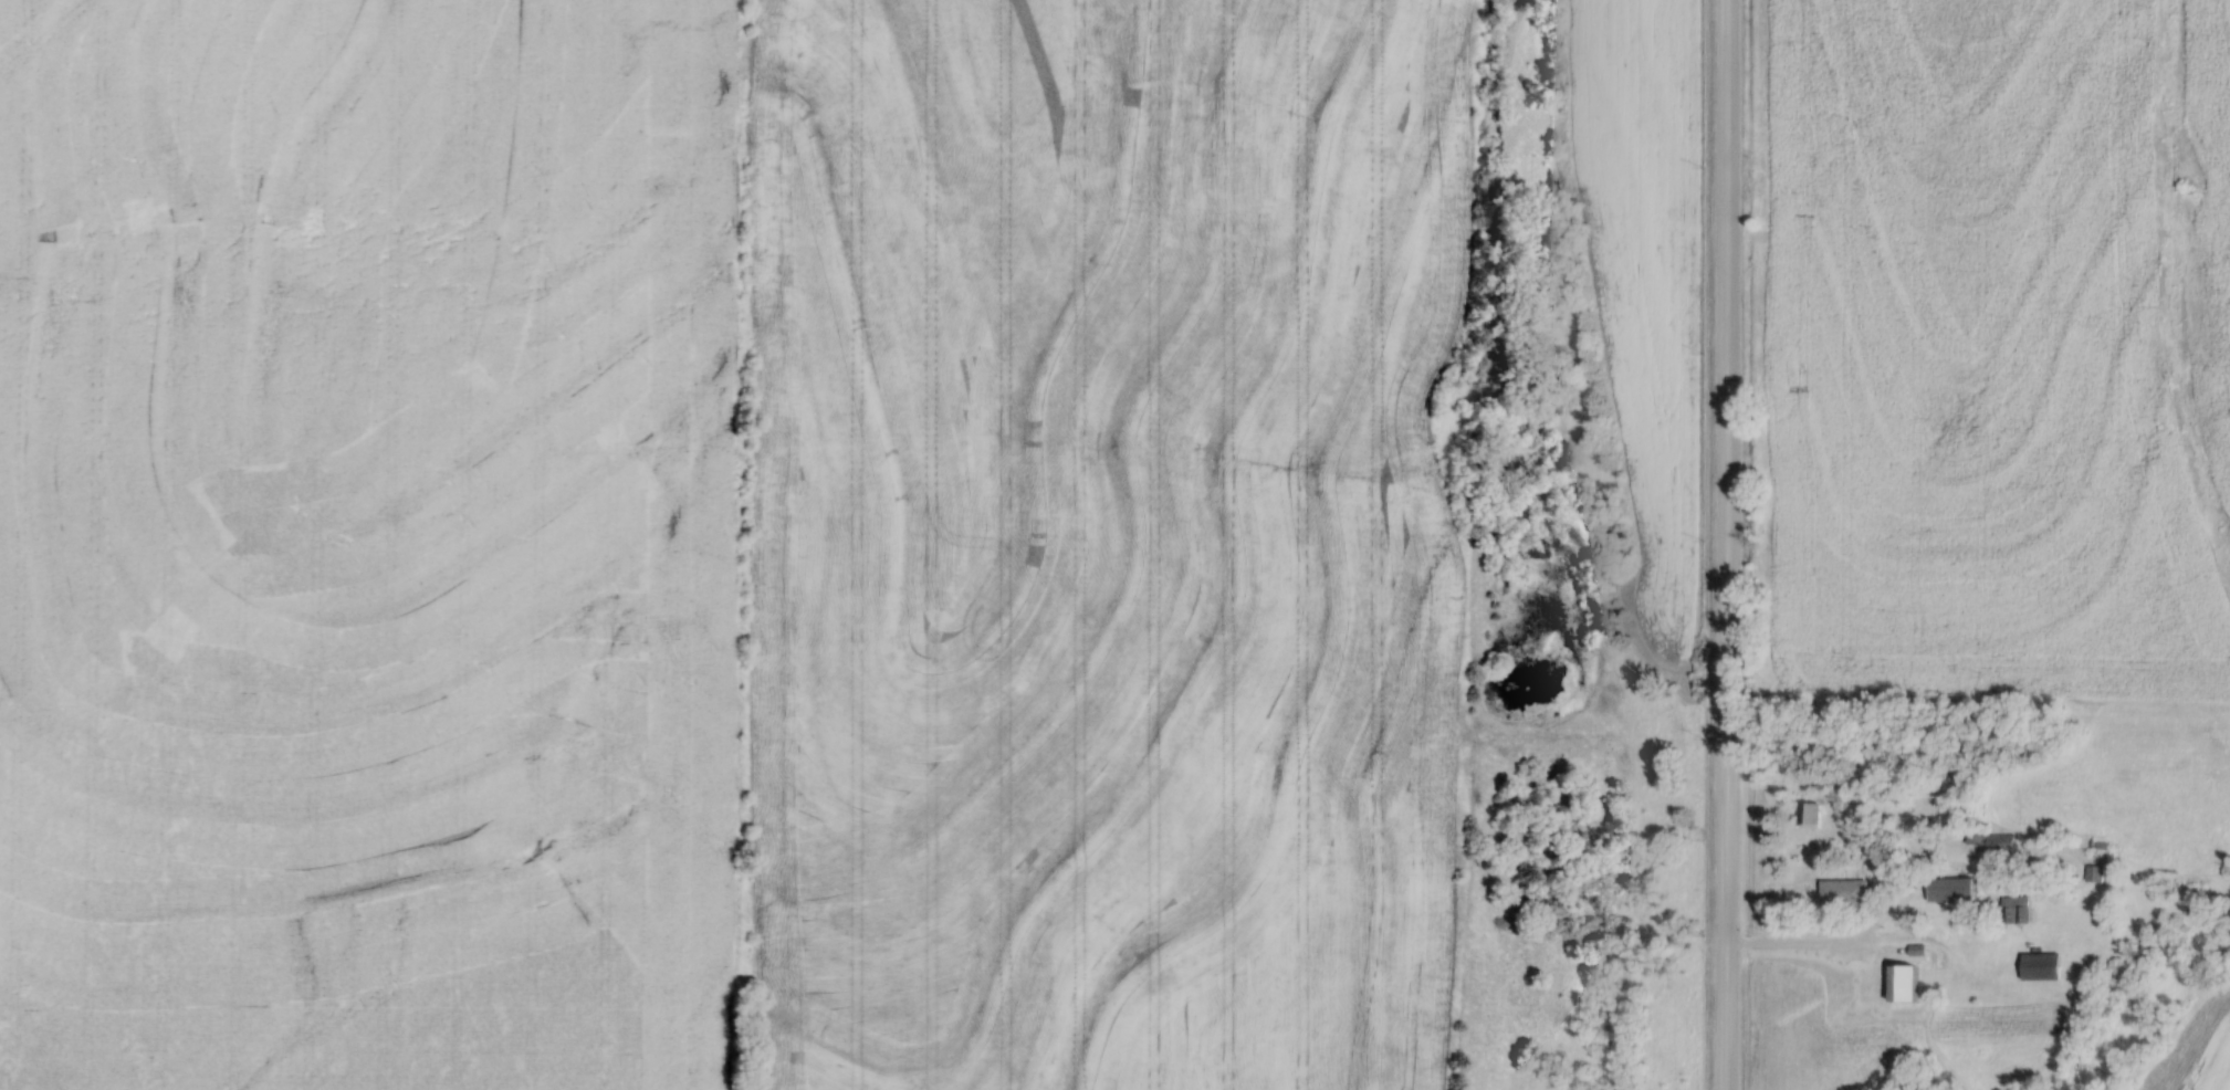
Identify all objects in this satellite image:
road: (1728, 545)
building: (1807, 814)
building: (1987, 839)
building: (2091, 872)
building: (1946, 889)
building: (1844, 893)
building: (2012, 909)
building: (2037, 966)
building: (1896, 983)

